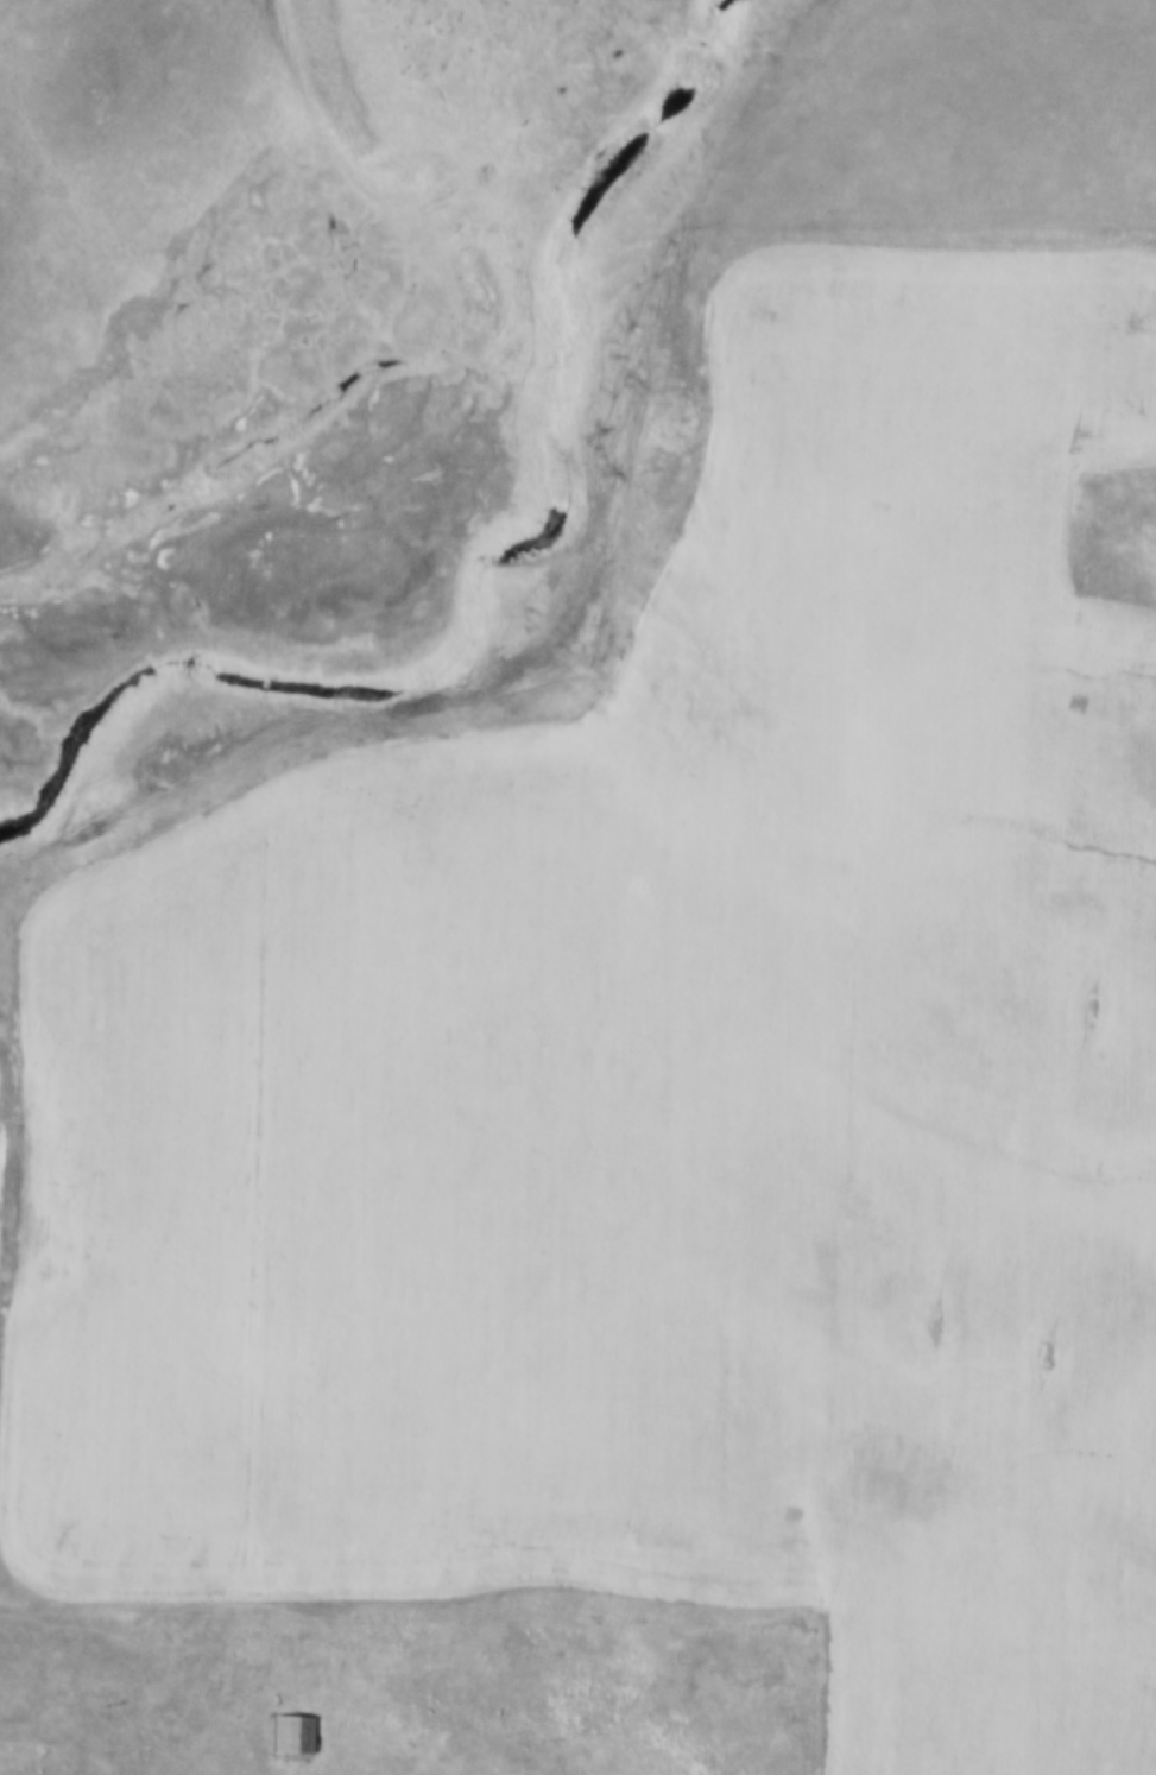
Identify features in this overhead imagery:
building: (286, 1735)

